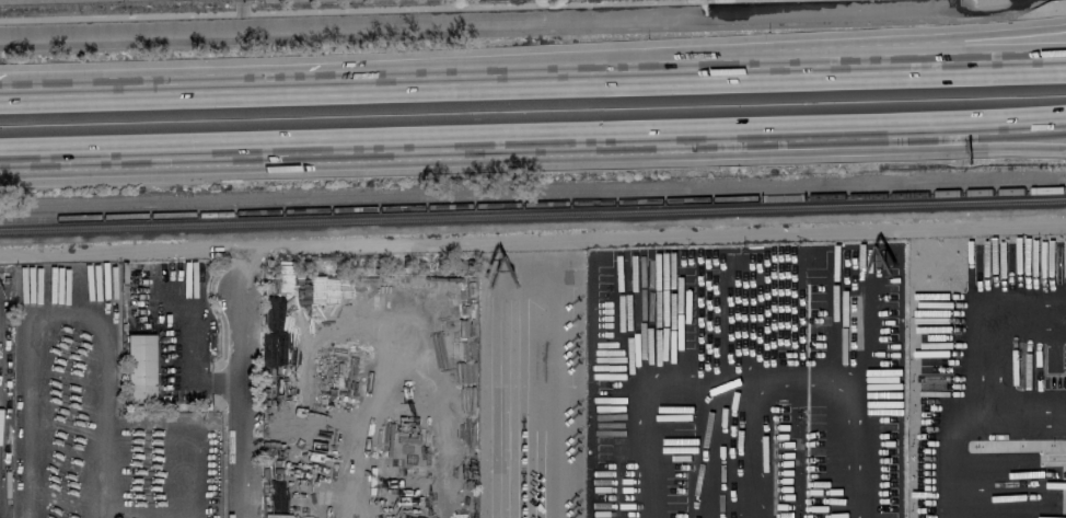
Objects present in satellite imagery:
road: (656, 49)
road: (533, 84)
road: (864, 122)
road: (329, 141)
road: (862, 149)
railway: (533, 206)
railway: (533, 218)
road: (980, 312)
road: (415, 349)
road: (749, 364)
building: (139, 368)
road: (553, 395)
road: (241, 407)
road: (1021, 423)

